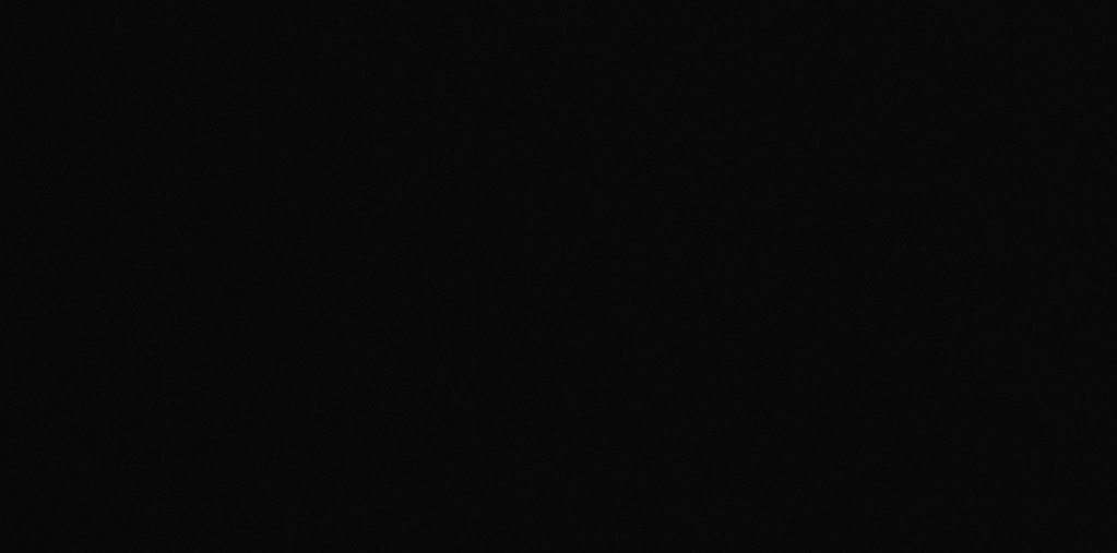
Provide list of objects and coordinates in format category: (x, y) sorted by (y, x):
wastewater plant: (558, 276)

